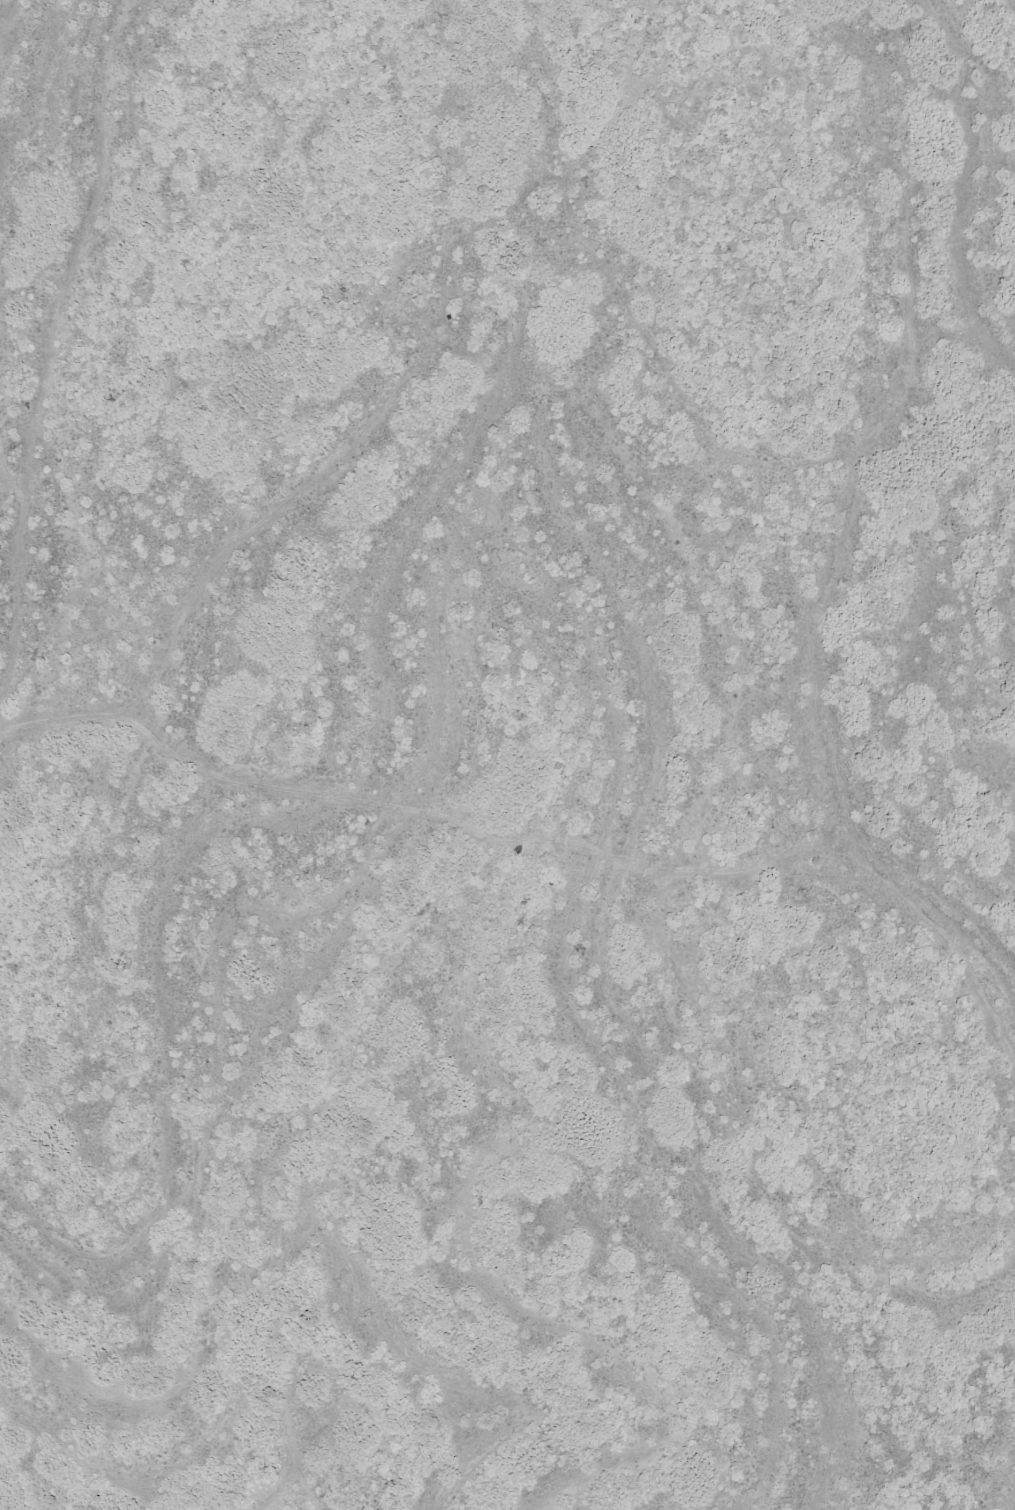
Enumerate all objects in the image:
road: (90, 384)
road: (839, 548)
road: (414, 829)

